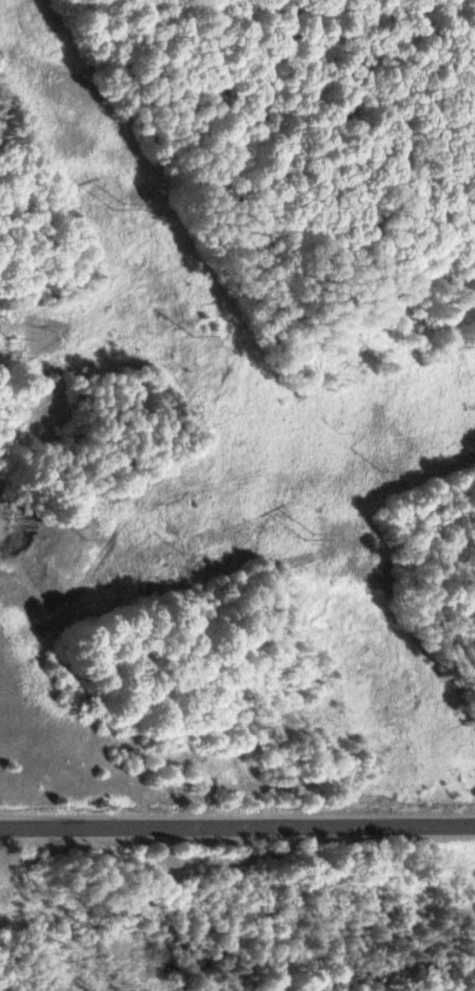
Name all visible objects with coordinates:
road: (237, 831)

